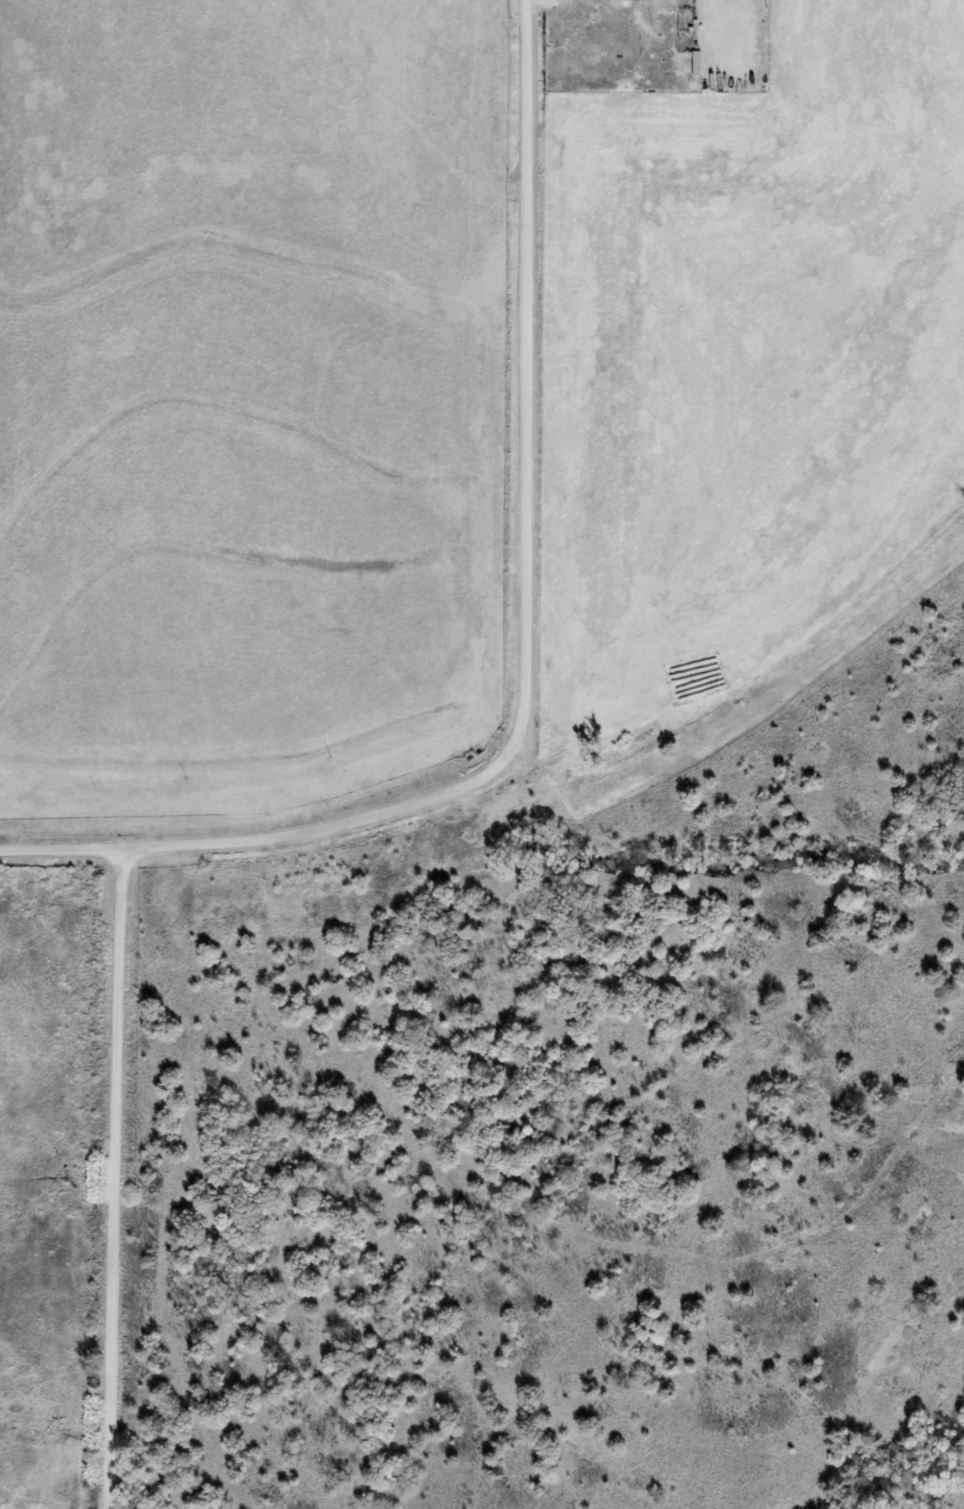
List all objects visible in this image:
building: (694, 65)
road: (530, 580)
road: (64, 848)
road: (121, 1177)

